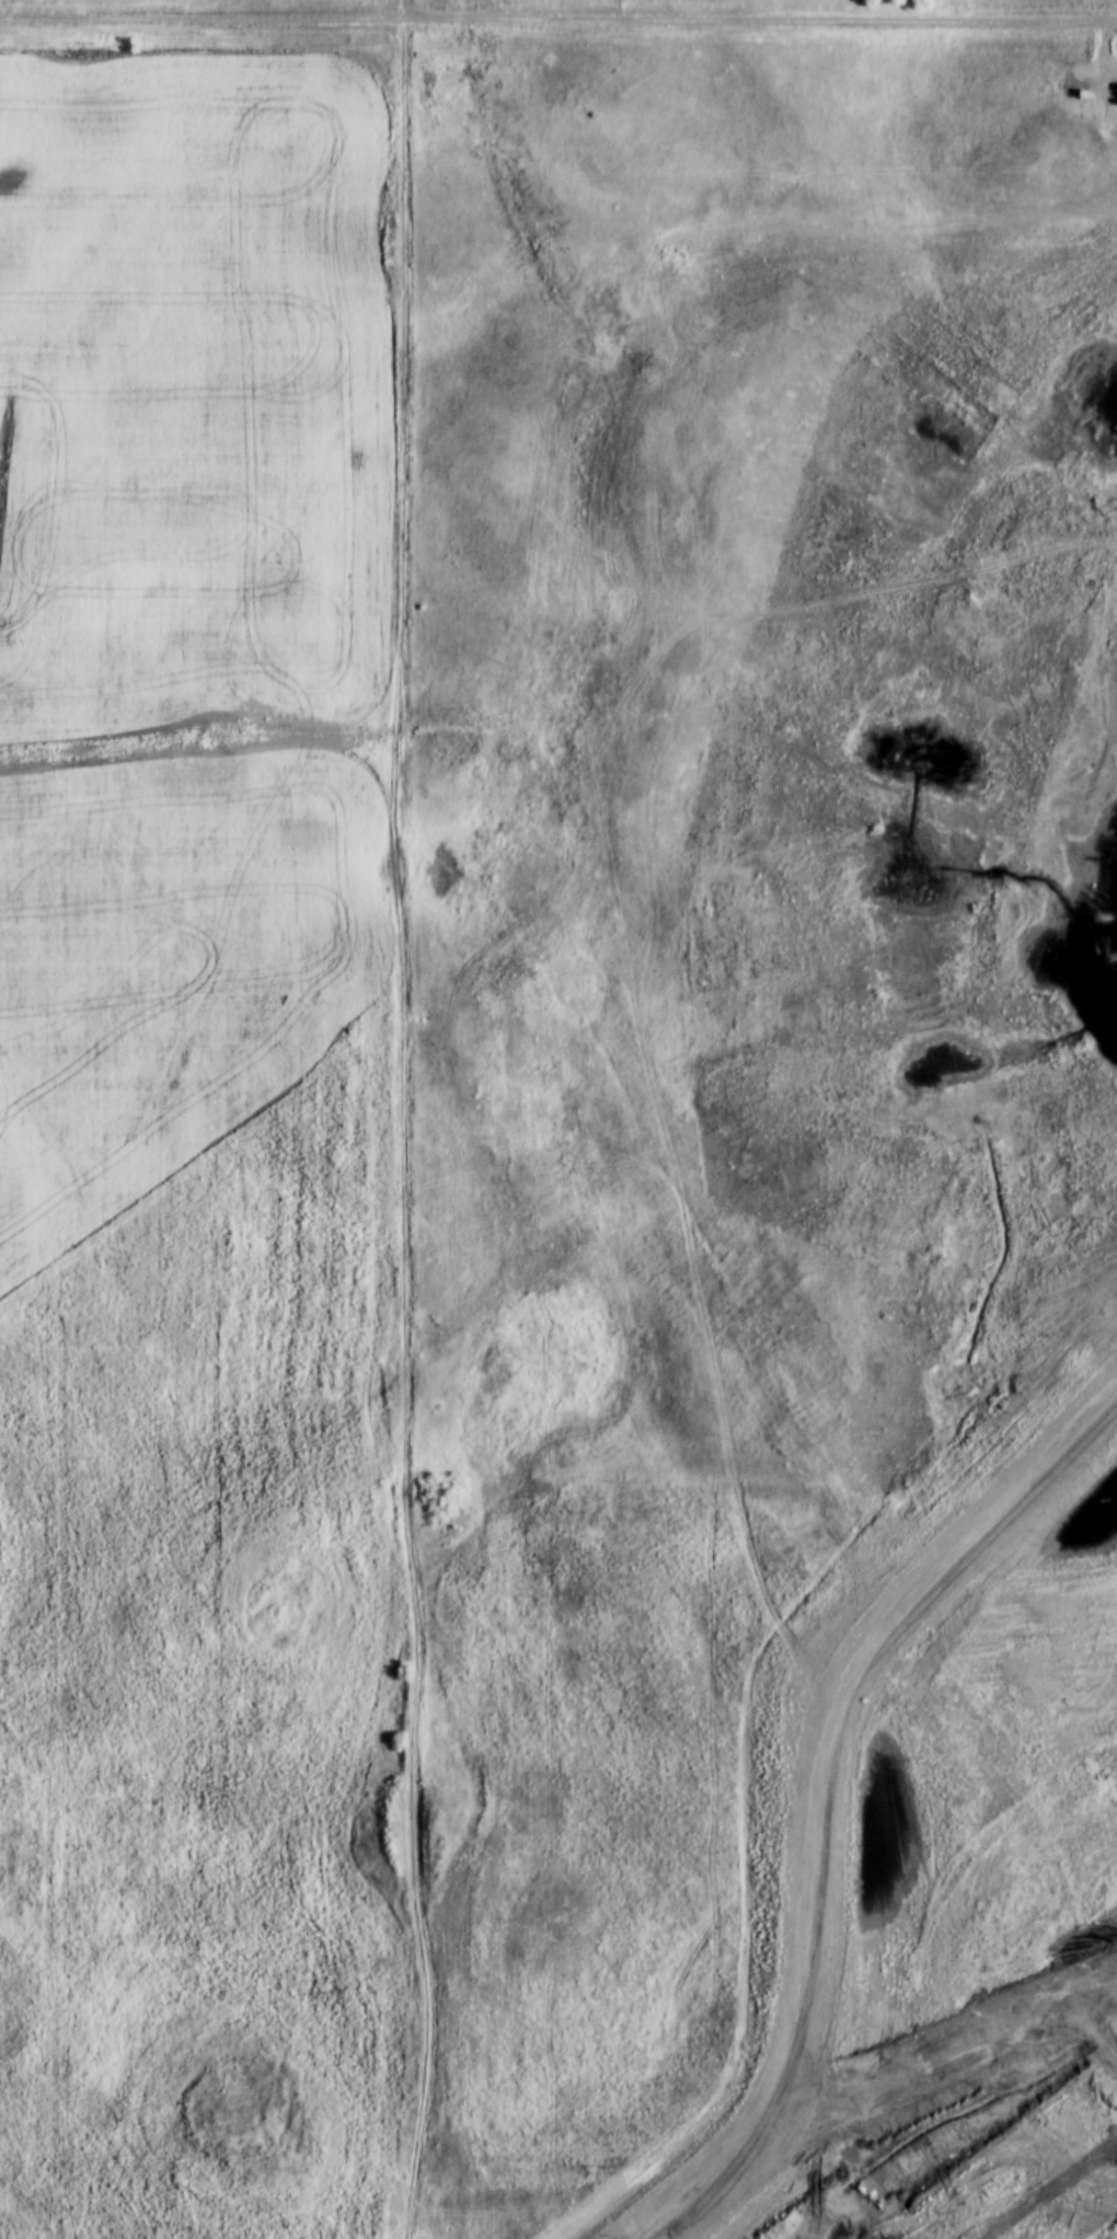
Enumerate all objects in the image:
road: (557, 16)
road: (402, 1119)

